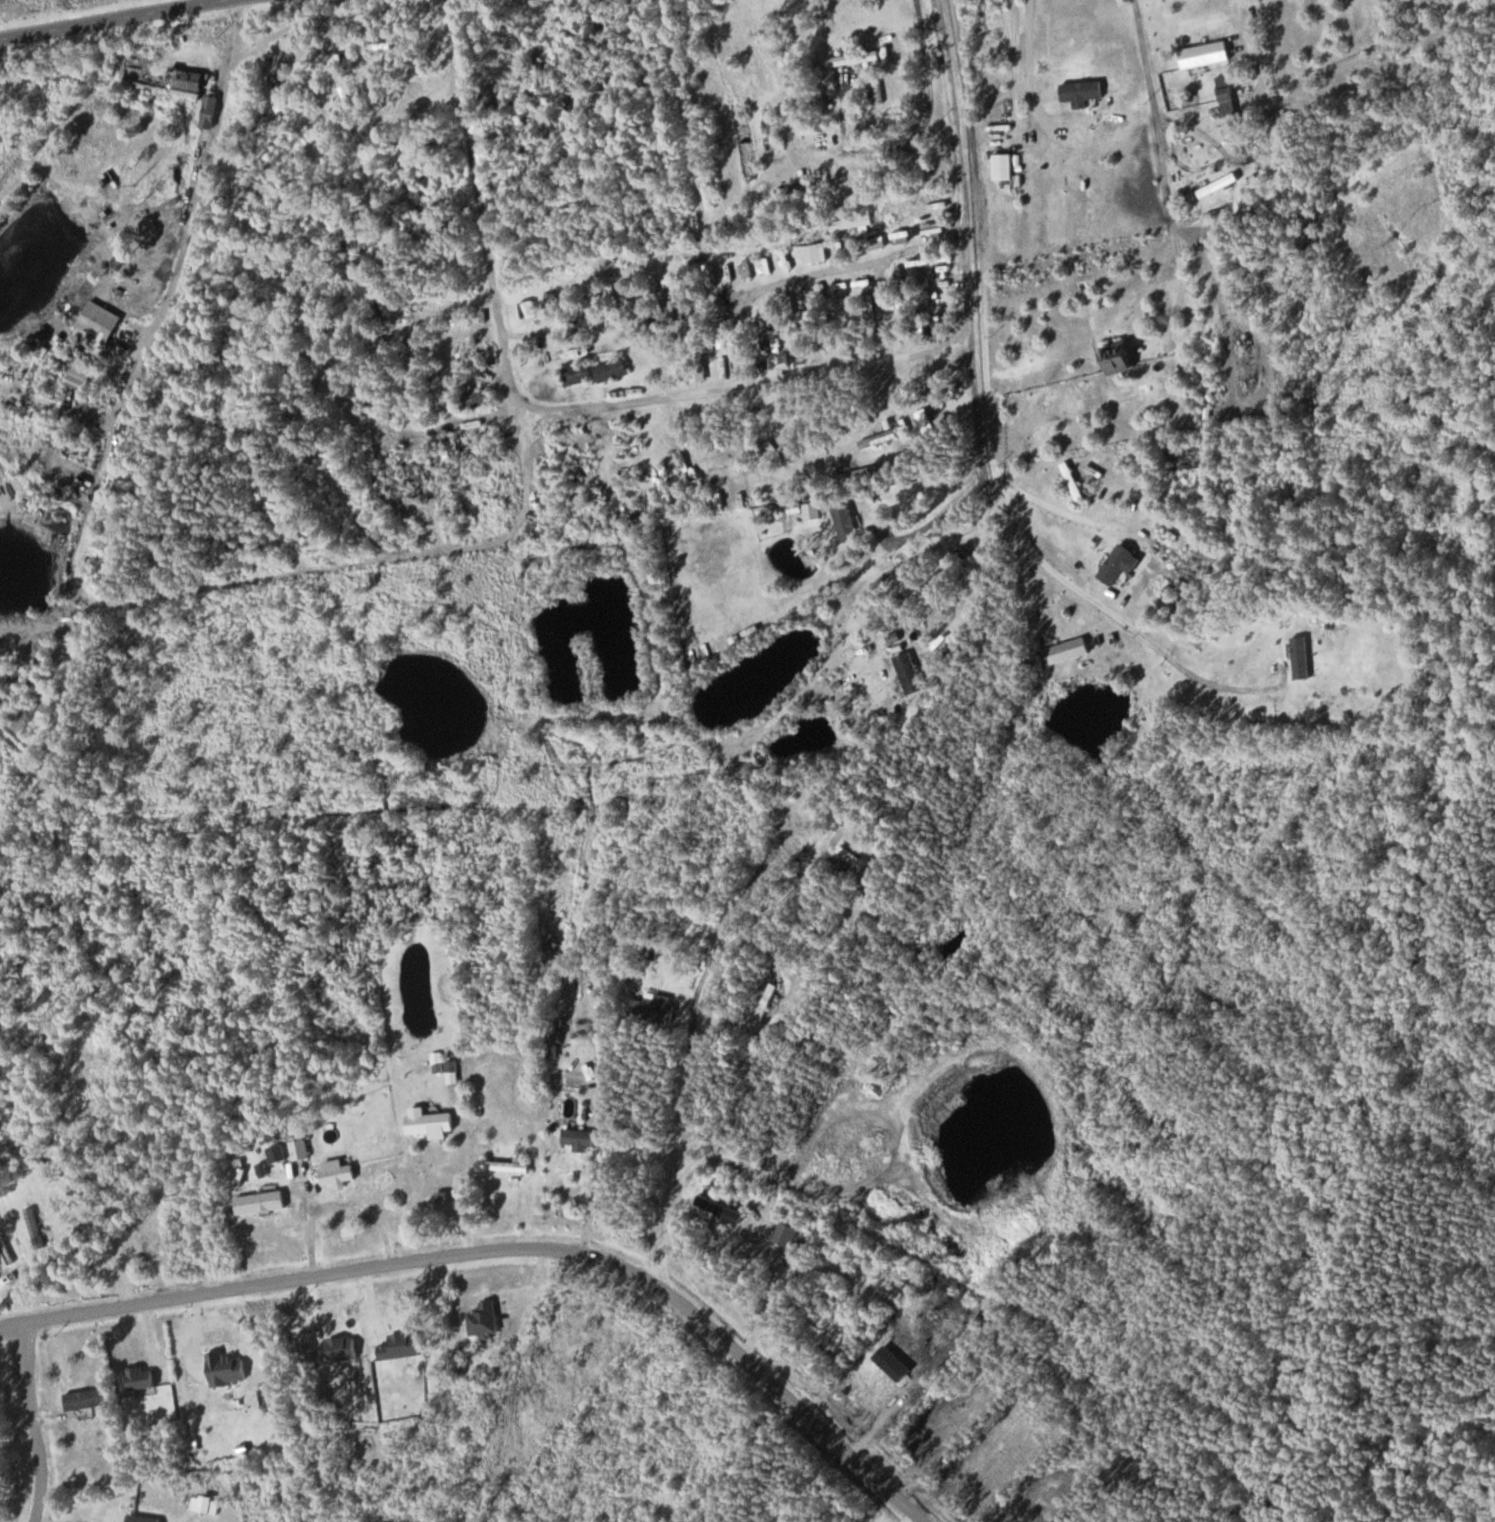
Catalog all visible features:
road: (99, 16)
road: (1140, 26)
building: (1206, 54)
building: (330, 59)
building: (187, 84)
building: (1096, 86)
building: (879, 89)
building: (1119, 123)
road: (1385, 154)
building: (1006, 166)
building: (1218, 185)
building: (801, 189)
building: (854, 222)
building: (604, 229)
building: (821, 252)
building: (384, 310)
building: (101, 323)
building: (774, 340)
building: (1120, 358)
building: (613, 369)
building: (577, 374)
building: (324, 376)
road: (717, 384)
building: (476, 399)
building: (878, 439)
building: (1188, 457)
building: (859, 478)
building: (250, 550)
building: (1120, 564)
building: (1069, 651)
building: (1302, 657)
building: (911, 672)
building: (856, 858)
building: (551, 942)
building: (768, 1001)
building: (653, 1008)
building: (38, 1036)
building: (453, 1072)
building: (431, 1122)
building: (580, 1139)
building: (301, 1150)
building: (517, 1166)
building: (338, 1172)
building: (261, 1202)
building: (710, 1205)
building: (36, 1228)
building: (789, 1234)
road: (644, 1281)
road: (142, 1301)
building: (485, 1319)
building: (87, 1399)
road: (33, 1422)

